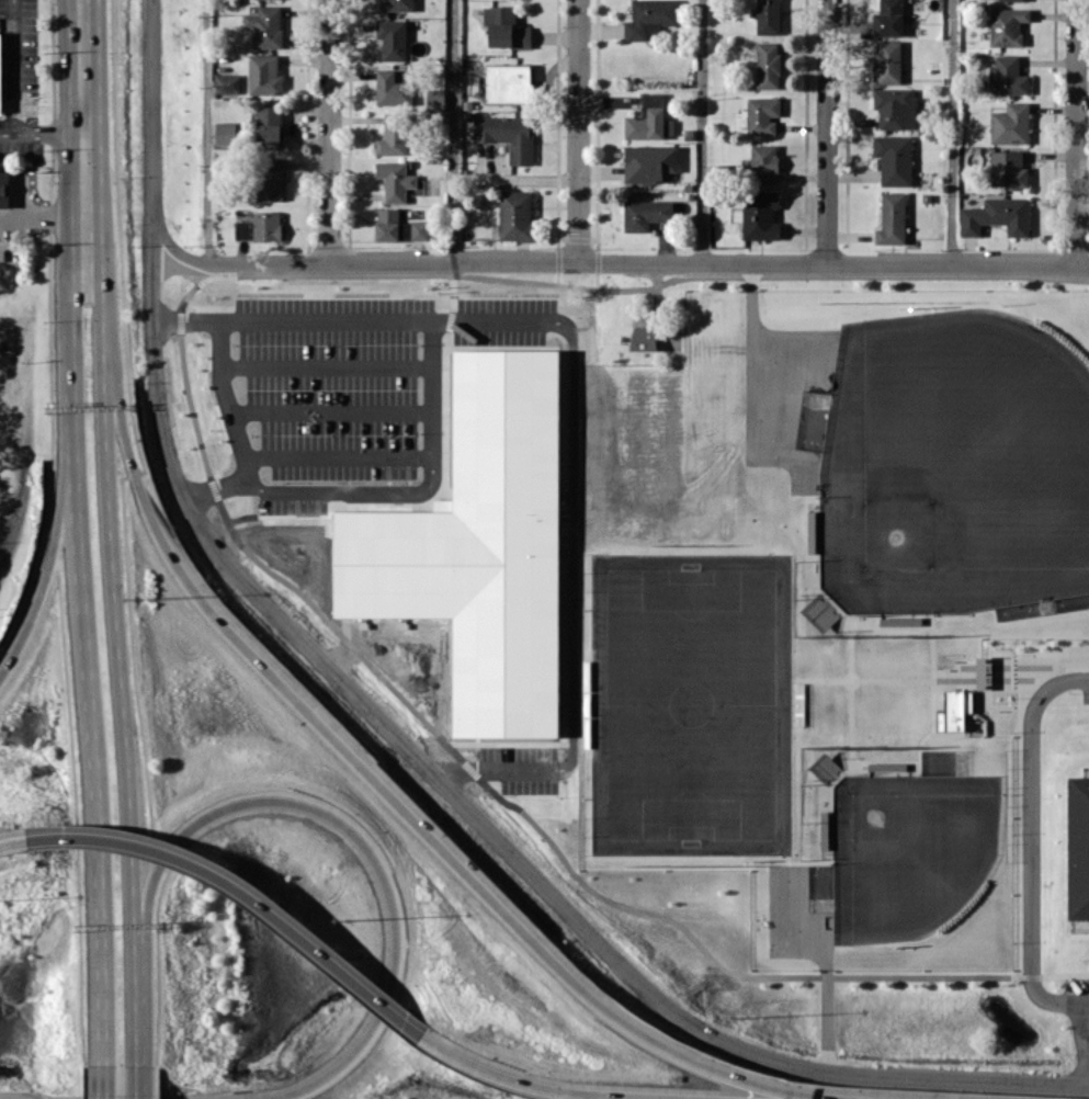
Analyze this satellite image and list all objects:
building: (1013, 0)
building: (394, 4)
building: (768, 16)
building: (649, 18)
building: (888, 19)
building: (1007, 25)
building: (265, 26)
building: (504, 27)
building: (392, 38)
road: (83, 42)
building: (887, 61)
building: (768, 65)
building: (0, 66)
building: (264, 75)
building: (1008, 76)
building: (508, 82)
building: (226, 83)
building: (390, 89)
building: (435, 99)
road: (9, 100)
building: (895, 107)
building: (762, 114)
building: (649, 120)
building: (1010, 124)
building: (269, 126)
road: (205, 131)
road: (329, 131)
road: (454, 131)
road: (577, 131)
road: (702, 131)
road: (826, 131)
road: (950, 131)
building: (225, 132)
building: (396, 134)
road: (1075, 134)
building: (508, 135)
building: (894, 159)
building: (648, 162)
building: (763, 163)
building: (1008, 169)
building: (269, 179)
building: (397, 181)
building: (4, 189)
building: (645, 214)
building: (514, 215)
building: (758, 215)
building: (996, 216)
building: (892, 218)
building: (397, 226)
building: (260, 227)
road: (11, 260)
road: (621, 261)
building: (643, 339)
road: (326, 363)
road: (431, 384)
road: (226, 396)
road: (331, 409)
road: (571, 424)
building: (494, 437)
road: (339, 453)
park: (954, 467)
road: (349, 489)
road: (53, 542)
road: (114, 573)
road: (77, 574)
park: (705, 610)
building: (438, 616)
building: (980, 672)
road: (1078, 678)
park: (692, 704)
building: (953, 710)
road: (395, 735)
building: (887, 766)
building: (824, 767)
road: (382, 789)
road: (337, 818)
building: (824, 829)
road: (14, 840)
building: (1079, 845)
road: (1028, 850)
road: (246, 892)
parking lot: (1071, 1015)
road: (1078, 1015)
road: (1086, 1058)
road: (104, 1081)
road: (139, 1081)
road: (555, 1089)

